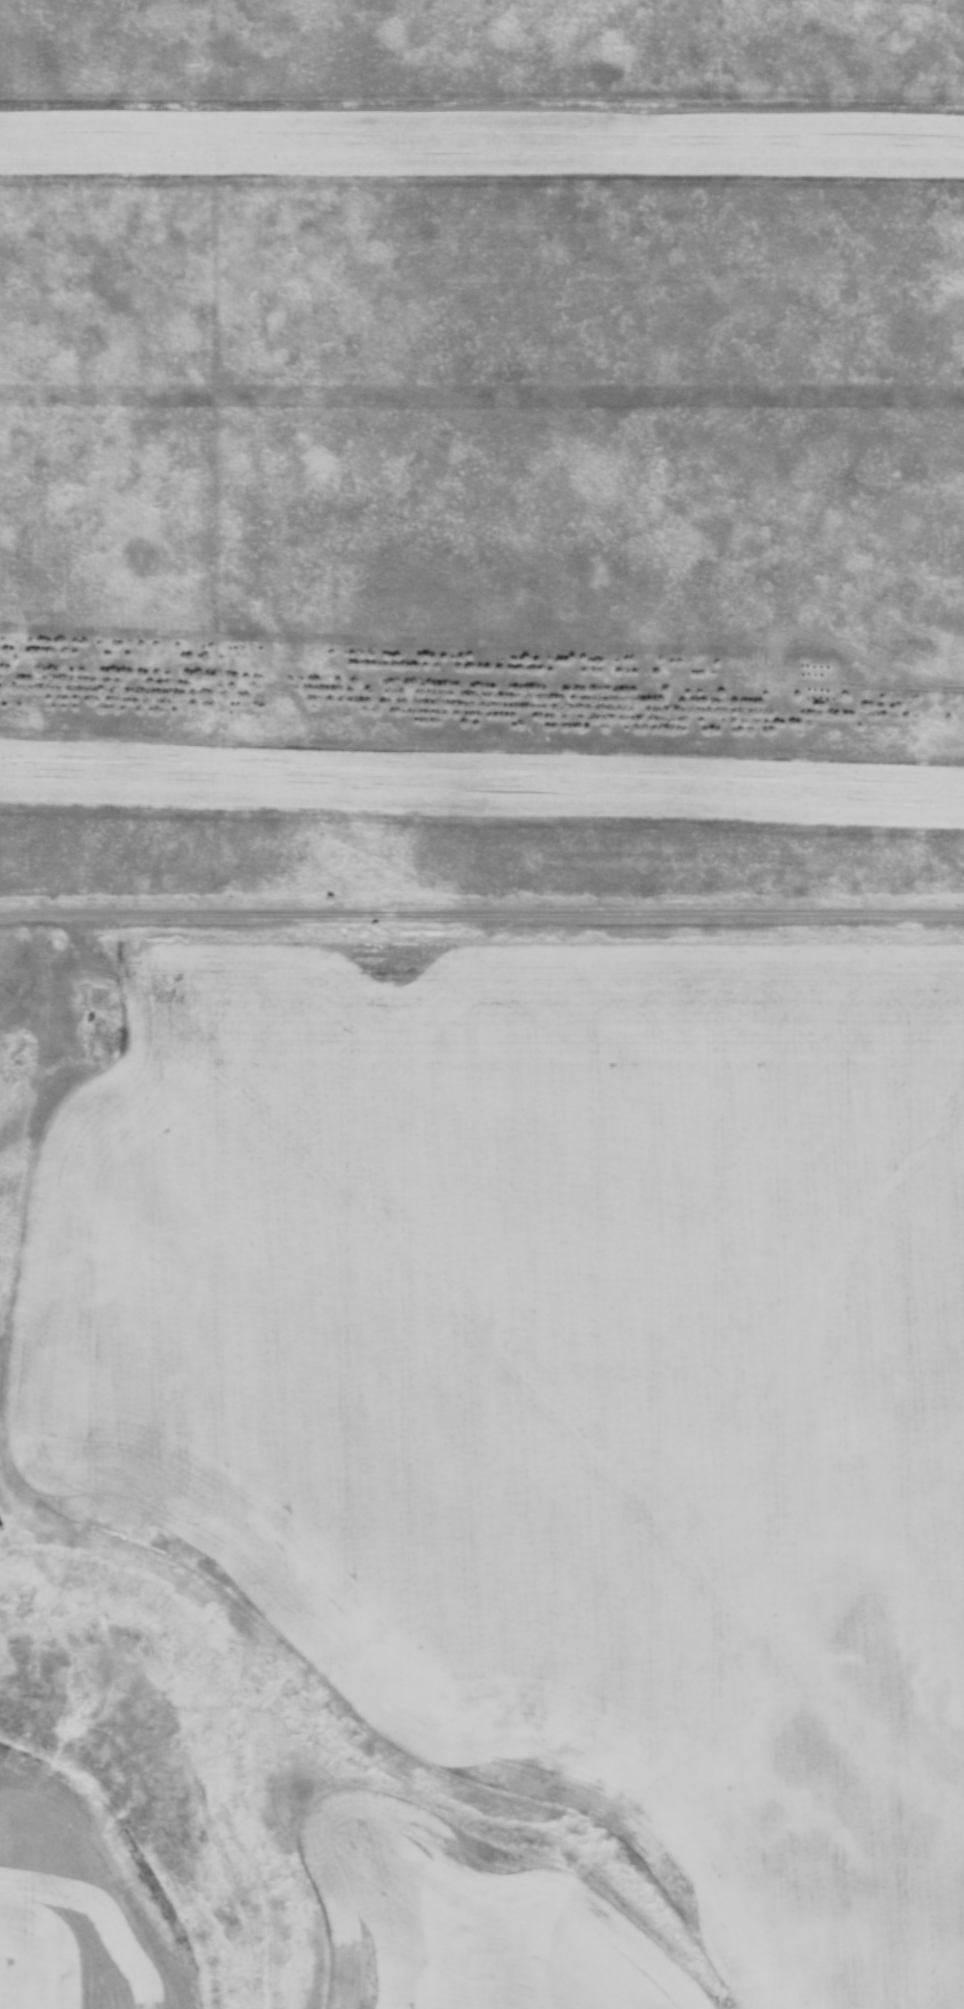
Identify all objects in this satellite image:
road: (482, 918)

